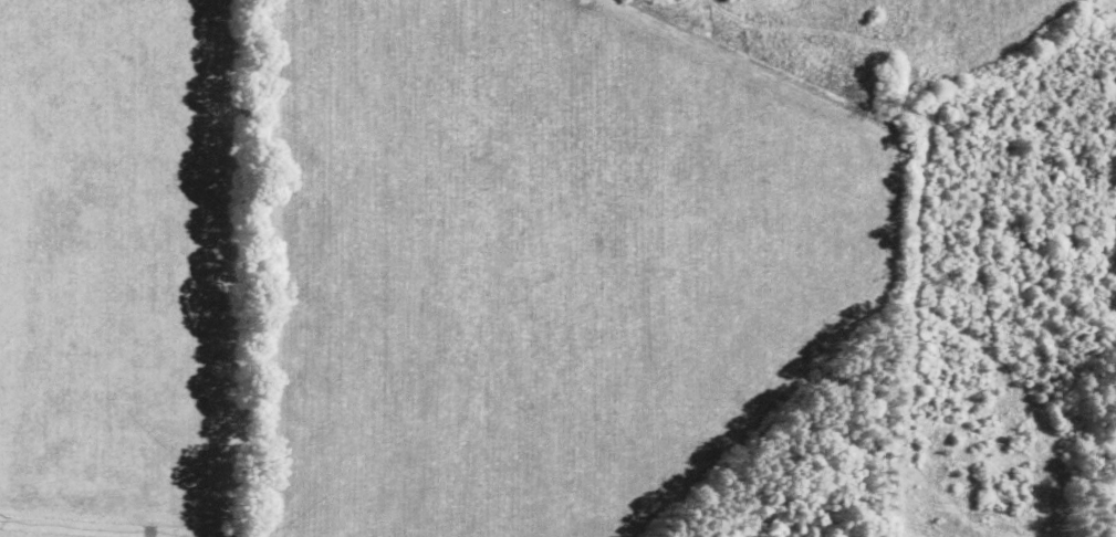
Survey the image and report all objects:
road: (25, 185)

